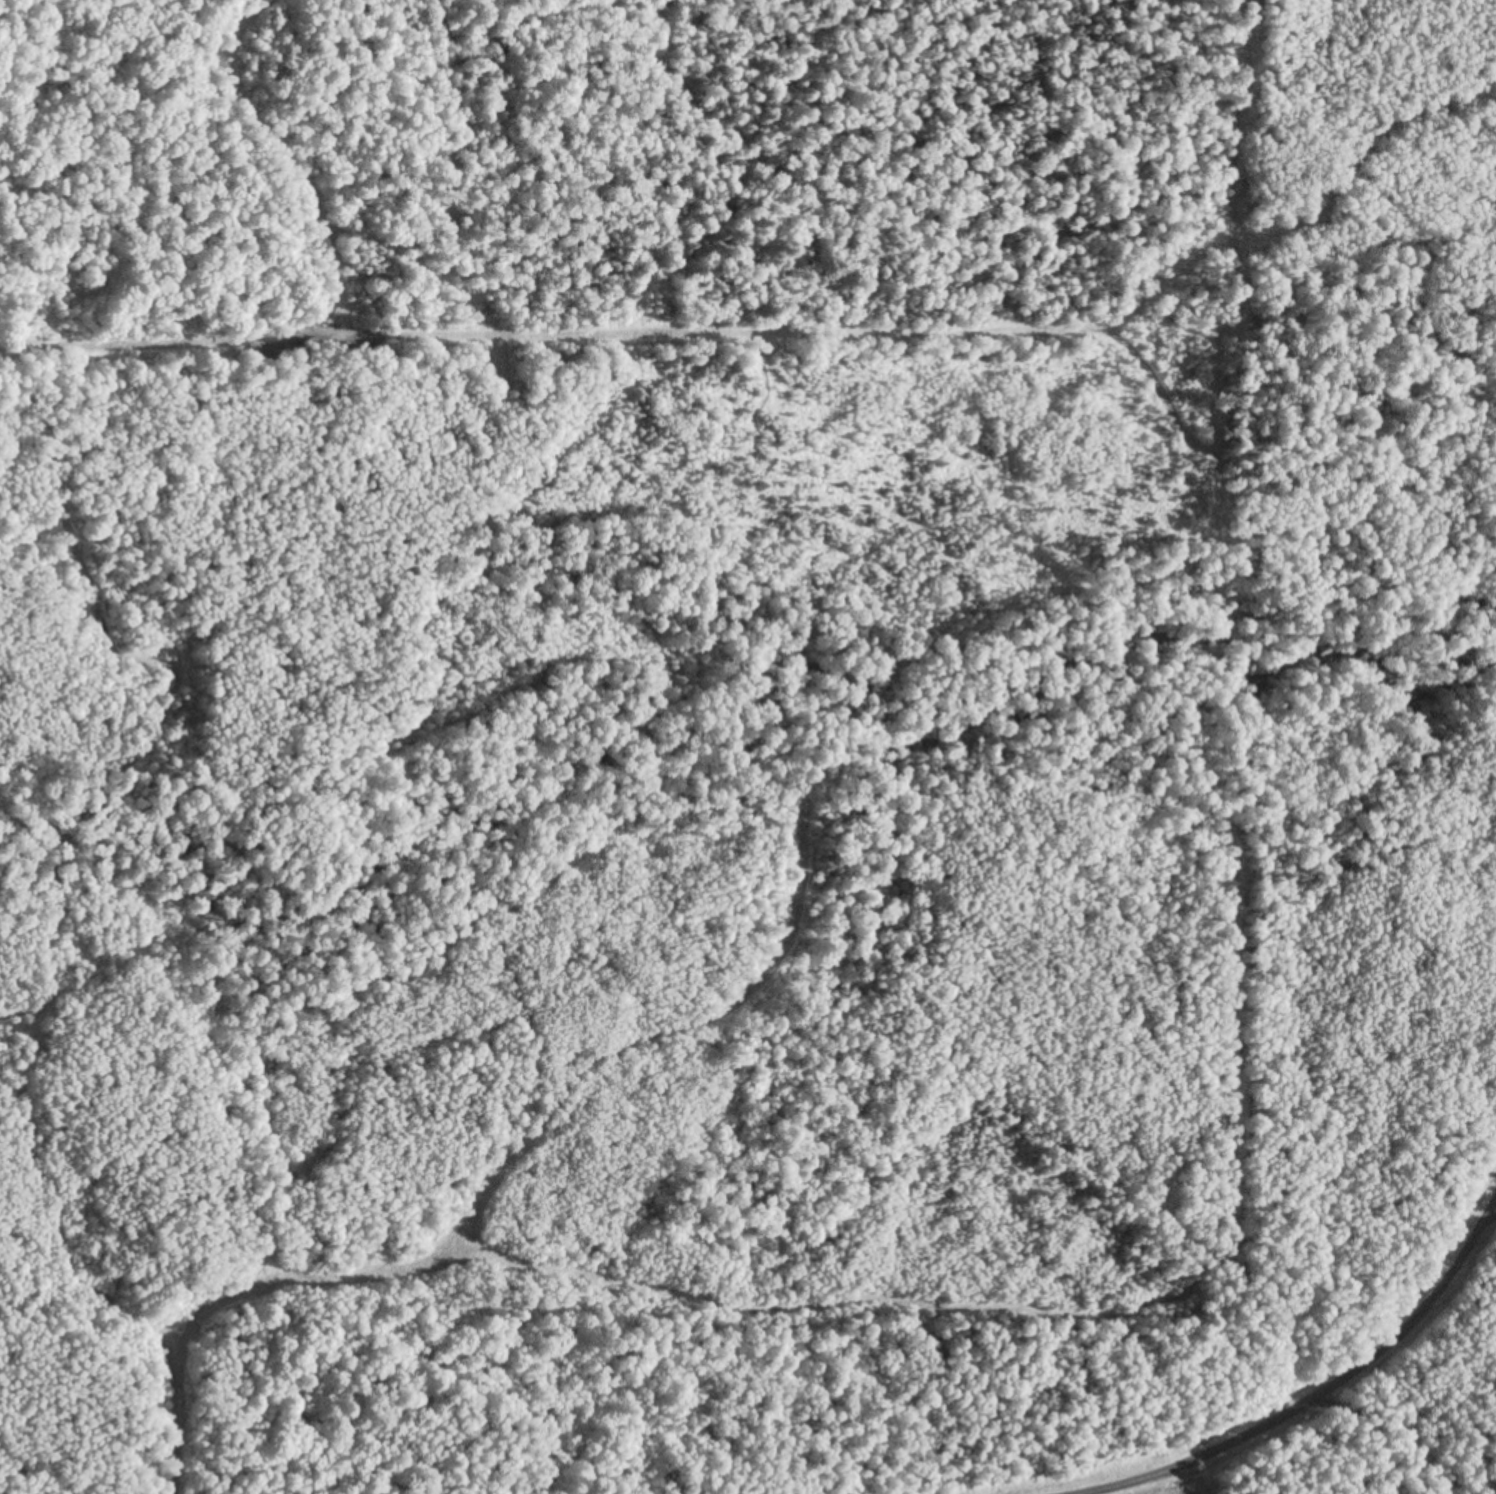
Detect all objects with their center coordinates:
road: (1321, 1396)

